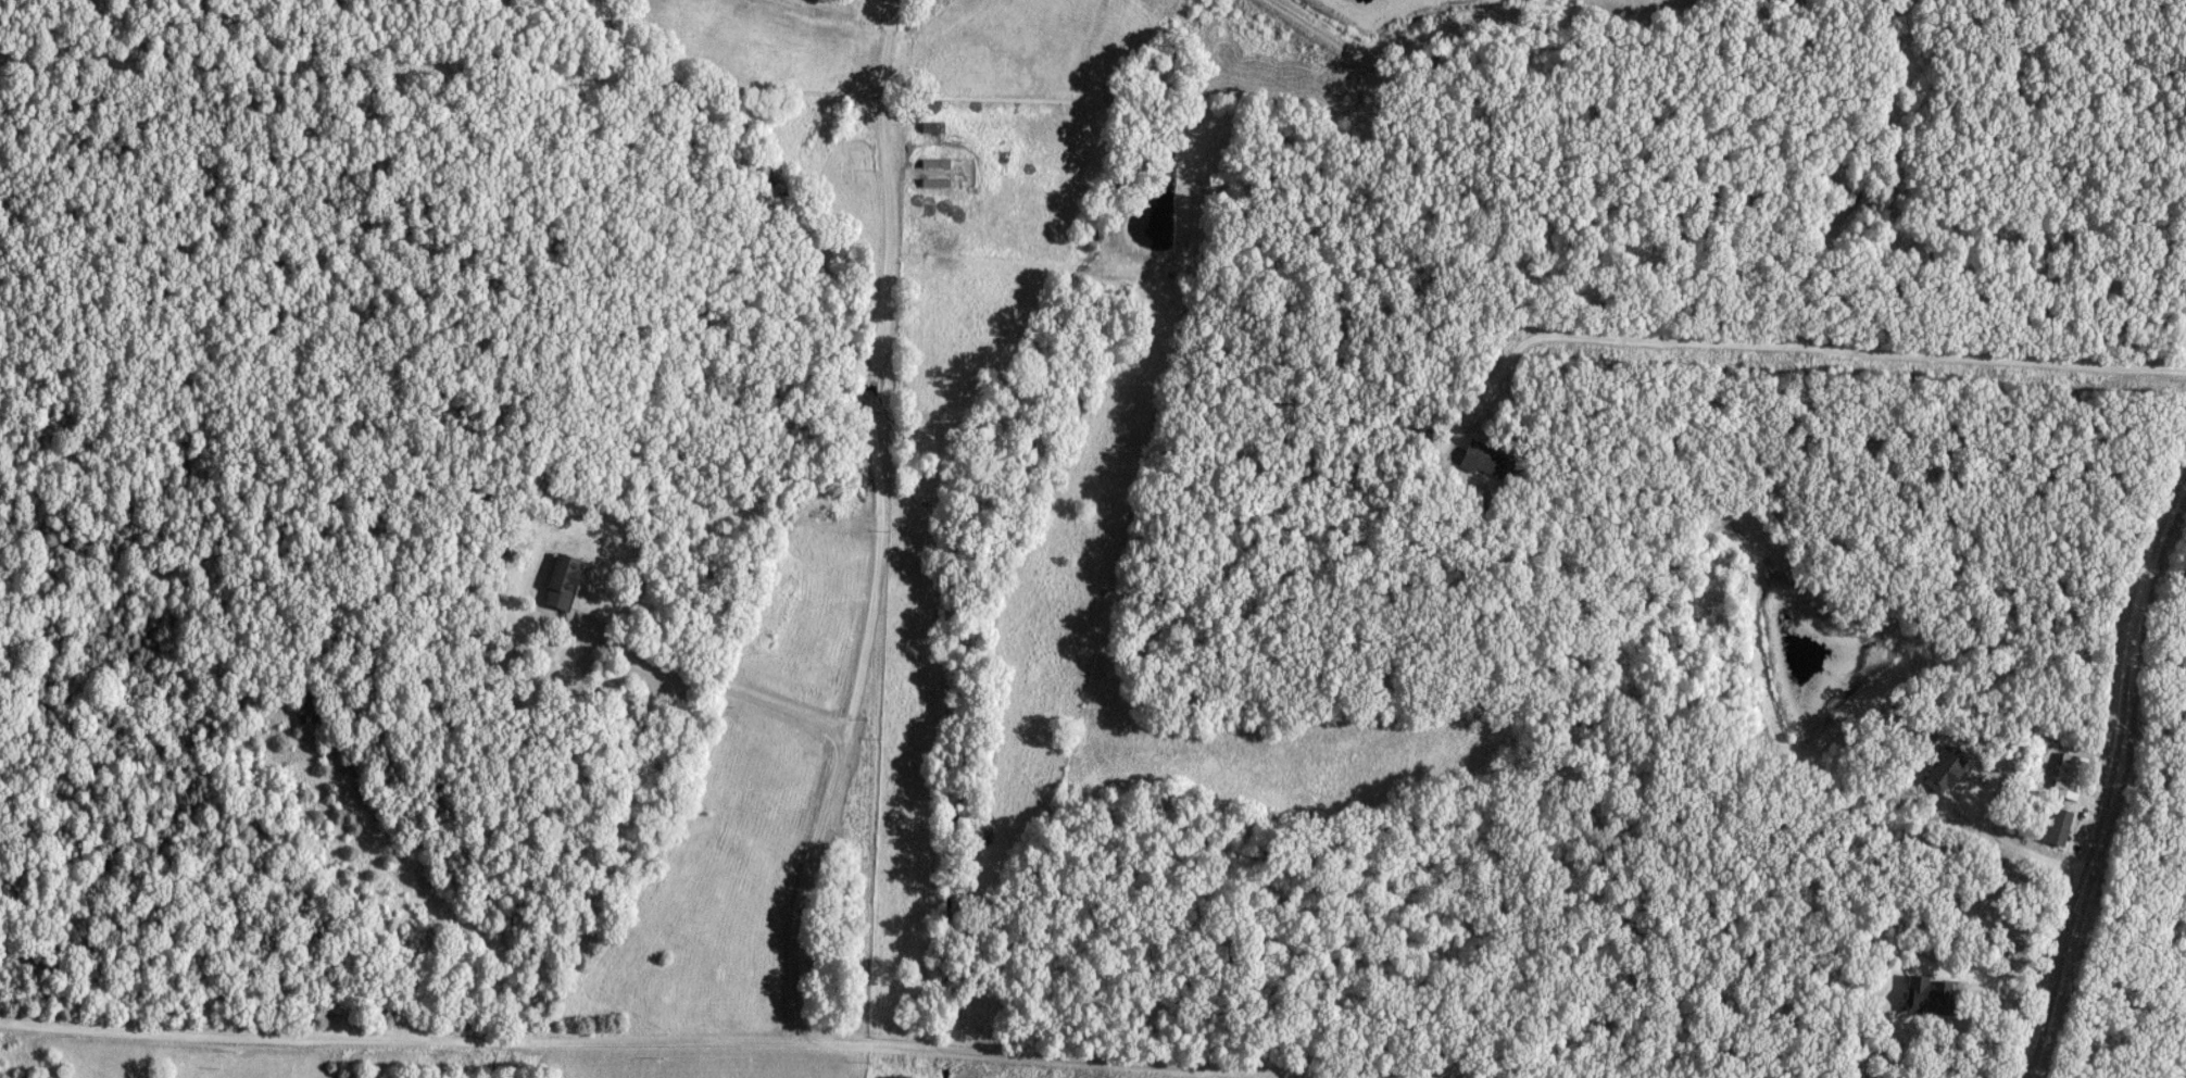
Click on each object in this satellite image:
road: (889, 22)
building: (842, 73)
building: (933, 127)
building: (935, 163)
building: (935, 183)
road: (1789, 348)
building: (1488, 462)
road: (879, 547)
building: (563, 581)
road: (704, 682)
building: (1947, 770)
building: (2070, 777)
road: (2113, 778)
road: (1956, 822)
building: (2058, 827)
building: (1931, 995)
road: (611, 1041)
road: (1470, 1074)

